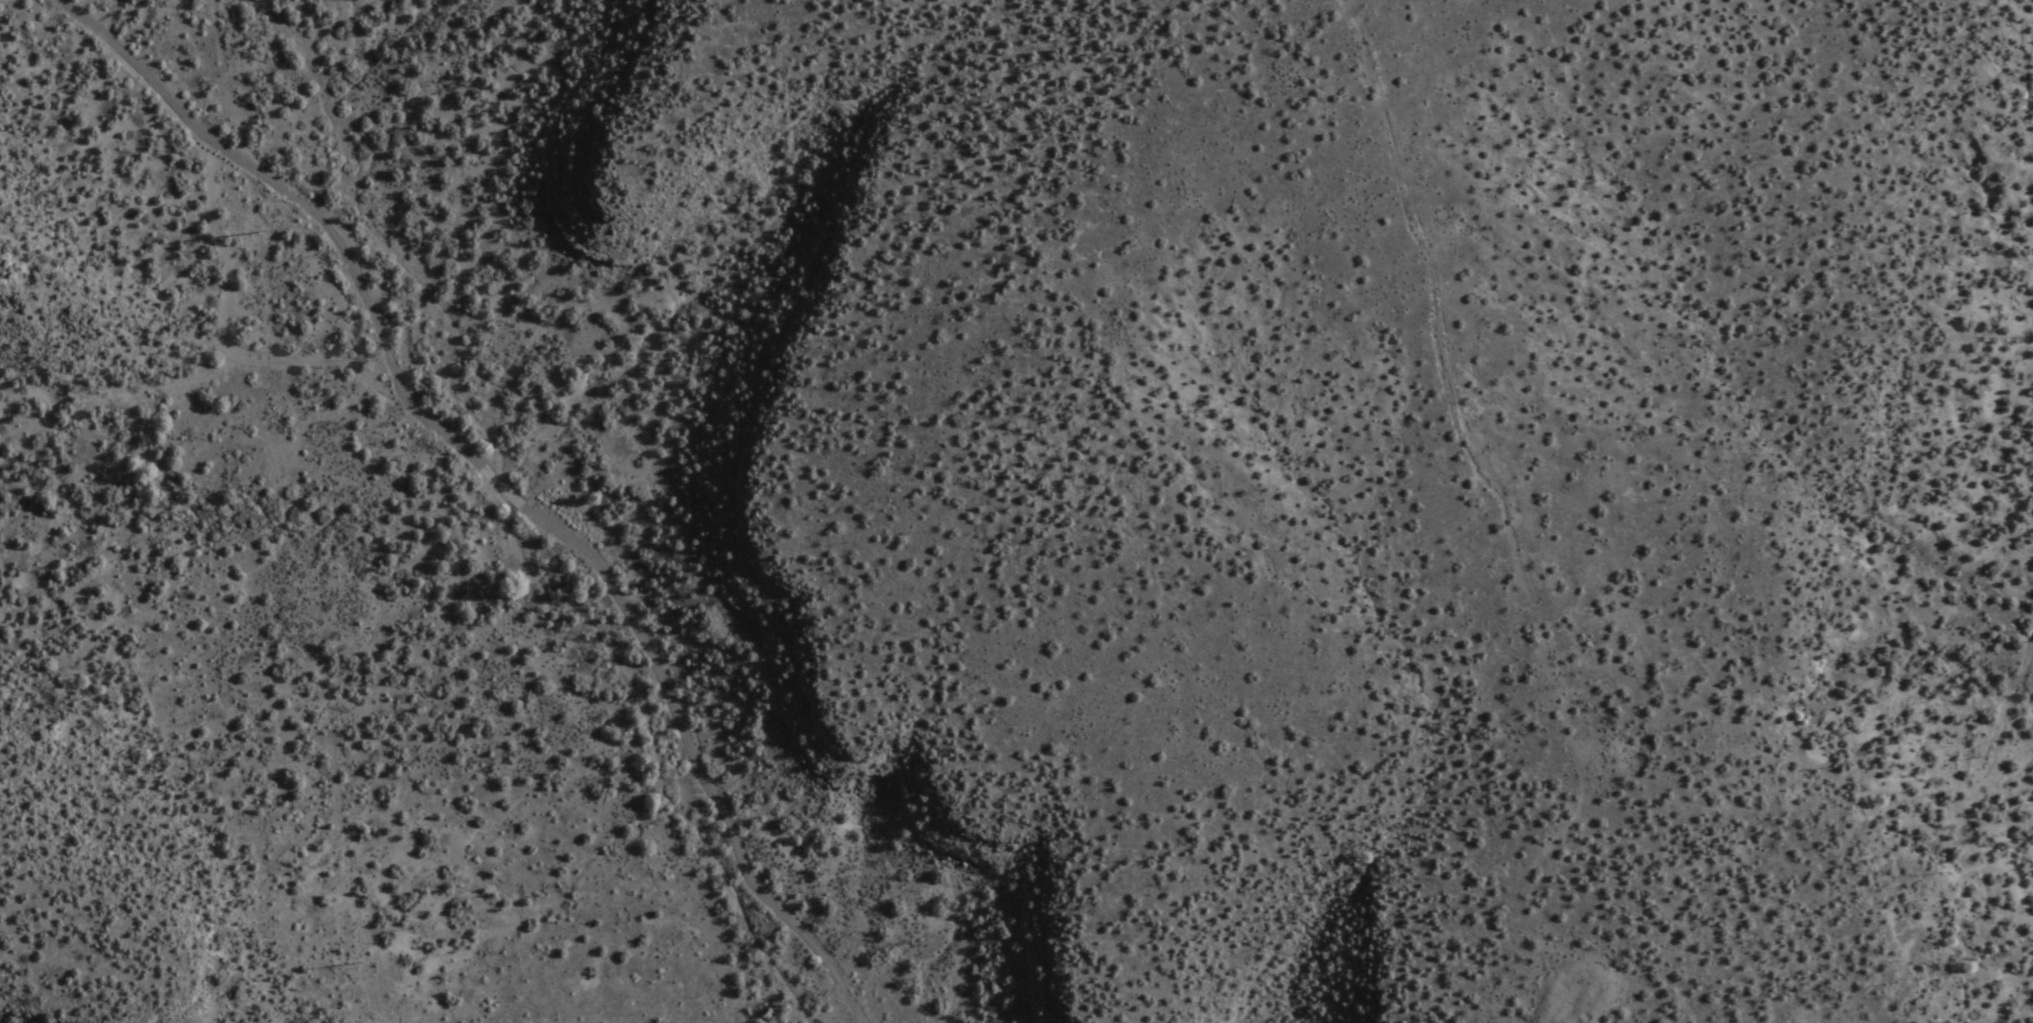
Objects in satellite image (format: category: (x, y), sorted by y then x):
road: (474, 459)

